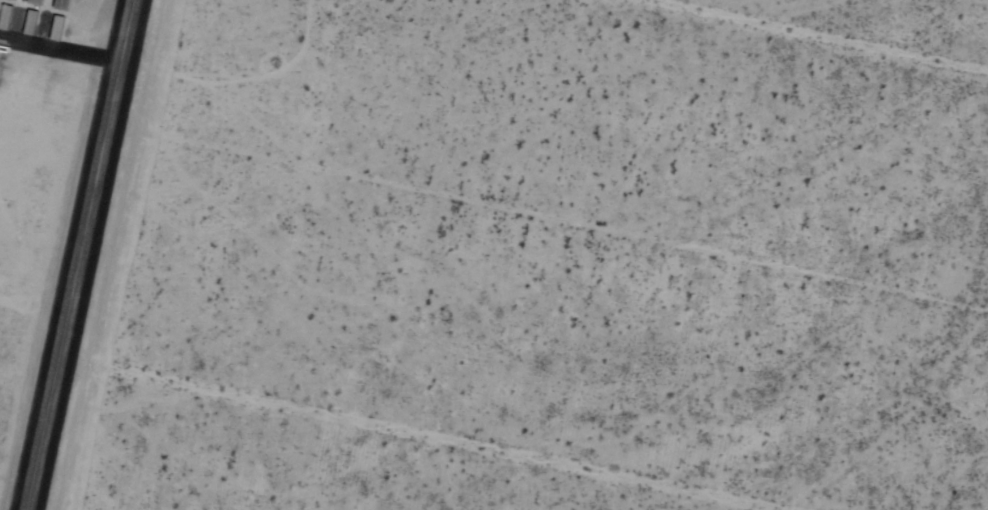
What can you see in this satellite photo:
road: (60, 54)
airport: (73, 211)
airport taxiway: (80, 254)

